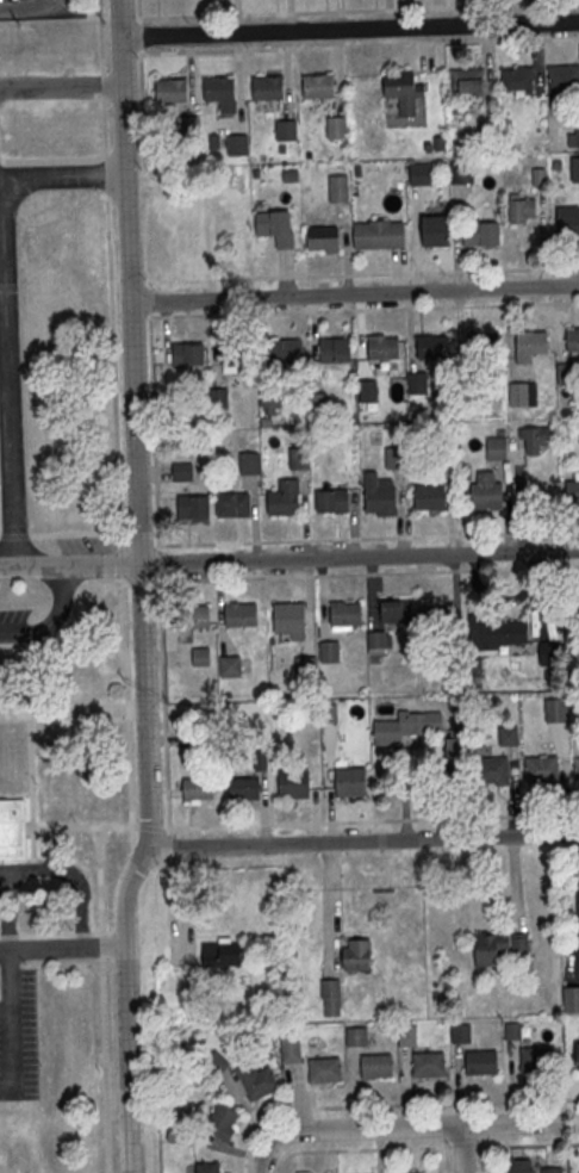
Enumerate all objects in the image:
road: (29, 10)
road: (350, 10)
road: (349, 32)
road: (531, 39)
road: (185, 50)
road: (485, 56)
road: (101, 76)
building: (565, 77)
building: (518, 79)
building: (468, 81)
building: (400, 83)
road: (61, 86)
building: (318, 86)
building: (268, 87)
building: (219, 88)
building: (172, 91)
building: (187, 126)
building: (337, 128)
building: (286, 130)
building: (577, 135)
building: (237, 145)
road: (51, 160)
building: (577, 170)
road: (105, 174)
building: (421, 174)
building: (461, 174)
building: (340, 186)
building: (523, 211)
building: (568, 222)
building: (276, 228)
building: (437, 230)
building: (481, 234)
building: (379, 235)
building: (324, 238)
road: (361, 275)
road: (354, 294)
road: (150, 300)
road: (7, 310)
road: (362, 310)
road: (137, 318)
building: (573, 340)
building: (484, 343)
building: (533, 343)
building: (434, 347)
building: (384, 349)
building: (336, 350)
building: (287, 352)
building: (236, 353)
building: (188, 355)
road: (112, 373)
building: (417, 384)
building: (369, 392)
building: (523, 396)
building: (270, 397)
building: (219, 399)
building: (318, 404)
road: (133, 424)
road: (154, 433)
building: (535, 439)
building: (497, 451)
building: (397, 458)
building: (300, 459)
building: (249, 464)
building: (182, 471)
building: (573, 492)
building: (486, 495)
building: (430, 497)
building: (381, 499)
building: (332, 501)
building: (284, 503)
building: (234, 504)
building: (192, 505)
road: (74, 533)
road: (14, 535)
road: (336, 541)
road: (359, 558)
road: (122, 563)
road: (69, 564)
road: (158, 564)
road: (572, 567)
road: (322, 577)
road: (142, 583)
building: (396, 612)
building: (288, 613)
building: (345, 614)
building: (241, 615)
road: (70, 617)
building: (193, 617)
building: (435, 619)
road: (54, 621)
building: (496, 632)
building: (379, 643)
building: (548, 652)
building: (330, 653)
building: (201, 657)
building: (231, 668)
building: (306, 668)
road: (163, 703)
building: (556, 712)
building: (330, 713)
road: (127, 716)
building: (406, 727)
building: (509, 737)
building: (456, 746)
building: (577, 769)
building: (493, 770)
building: (542, 770)
building: (350, 782)
building: (294, 784)
building: (198, 789)
building: (244, 789)
road: (373, 820)
road: (152, 827)
building: (13, 828)
road: (361, 843)
road: (61, 947)
building: (498, 948)
building: (355, 954)
building: (222, 955)
road: (101, 979)
building: (330, 995)
building: (571, 1000)
road: (124, 1008)
road: (15, 1028)
building: (512, 1030)
building: (460, 1032)
building: (407, 1035)
building: (356, 1036)
building: (291, 1049)
building: (578, 1055)
building: (536, 1060)
building: (481, 1063)
building: (214, 1065)
building: (429, 1065)
building: (376, 1067)
building: (325, 1070)
building: (257, 1081)
road: (392, 1105)
road: (571, 1121)
building: (222, 1122)
road: (410, 1128)
building: (181, 1135)
road: (434, 1147)
road: (463, 1149)
road: (446, 1160)
road: (481, 1160)
road: (262, 1162)
road: (282, 1162)
building: (519, 1166)
building: (207, 1167)
building: (552, 1171)
building: (411, 1172)

